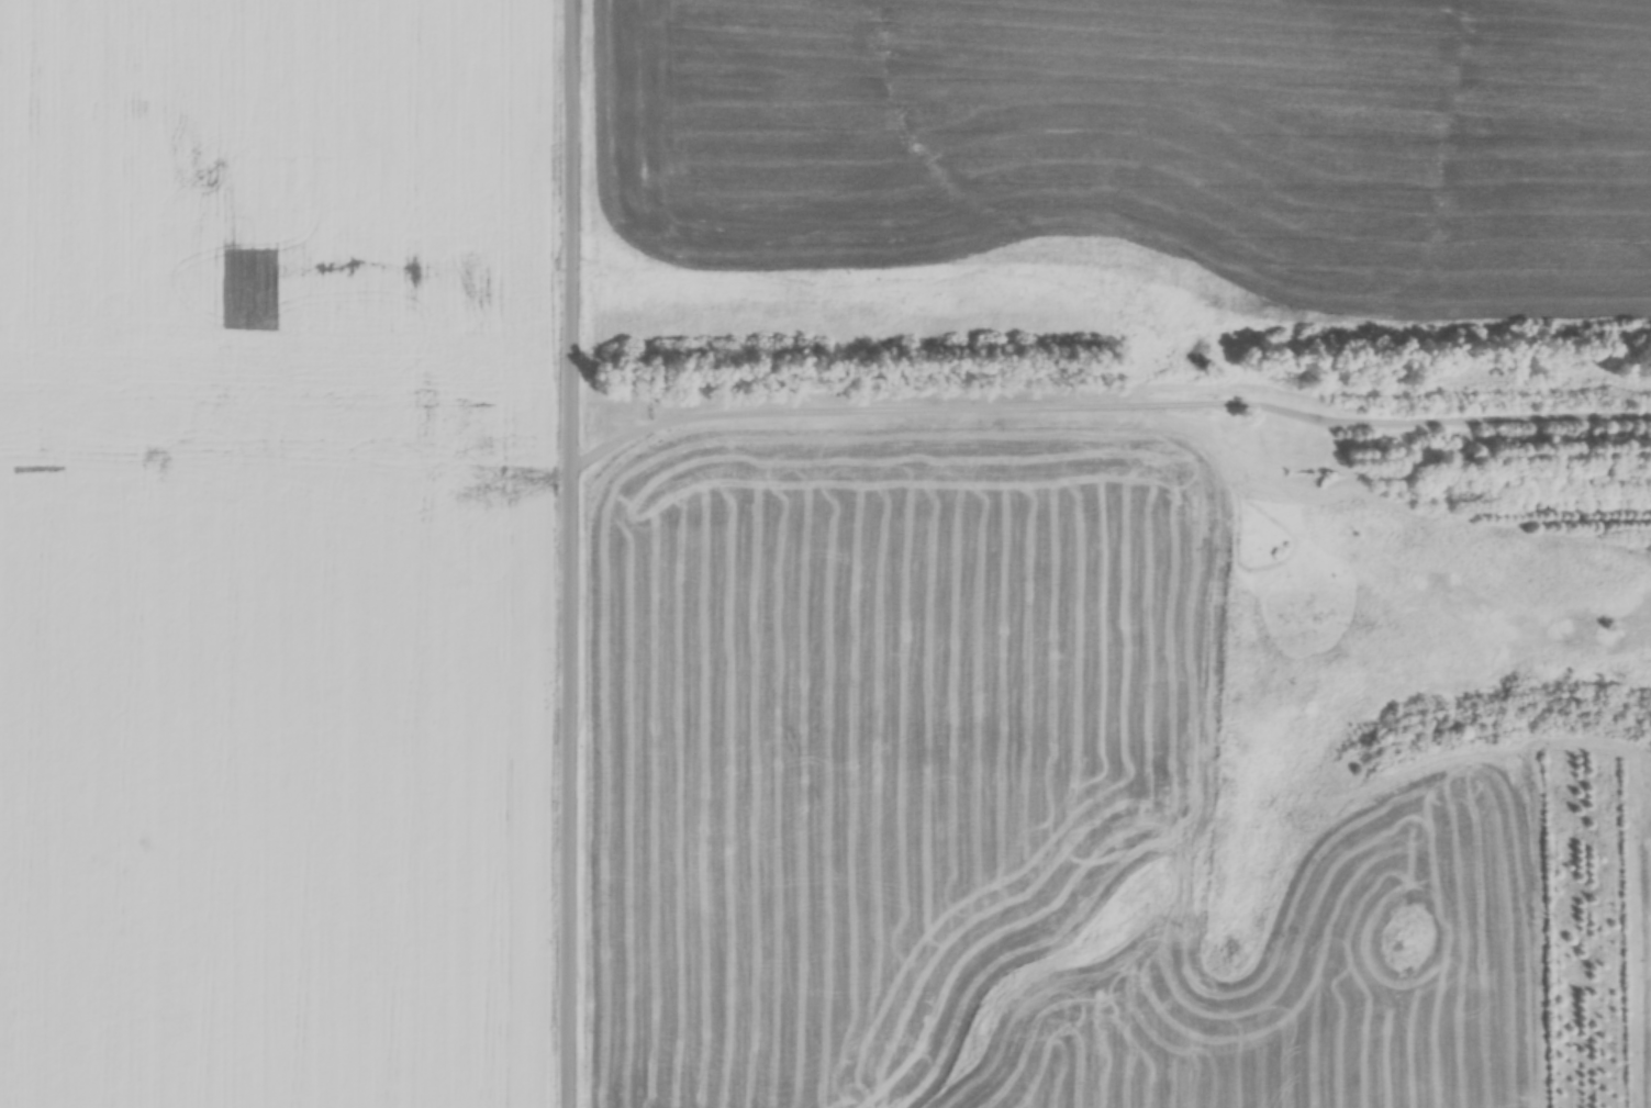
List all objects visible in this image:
road: (577, 553)

